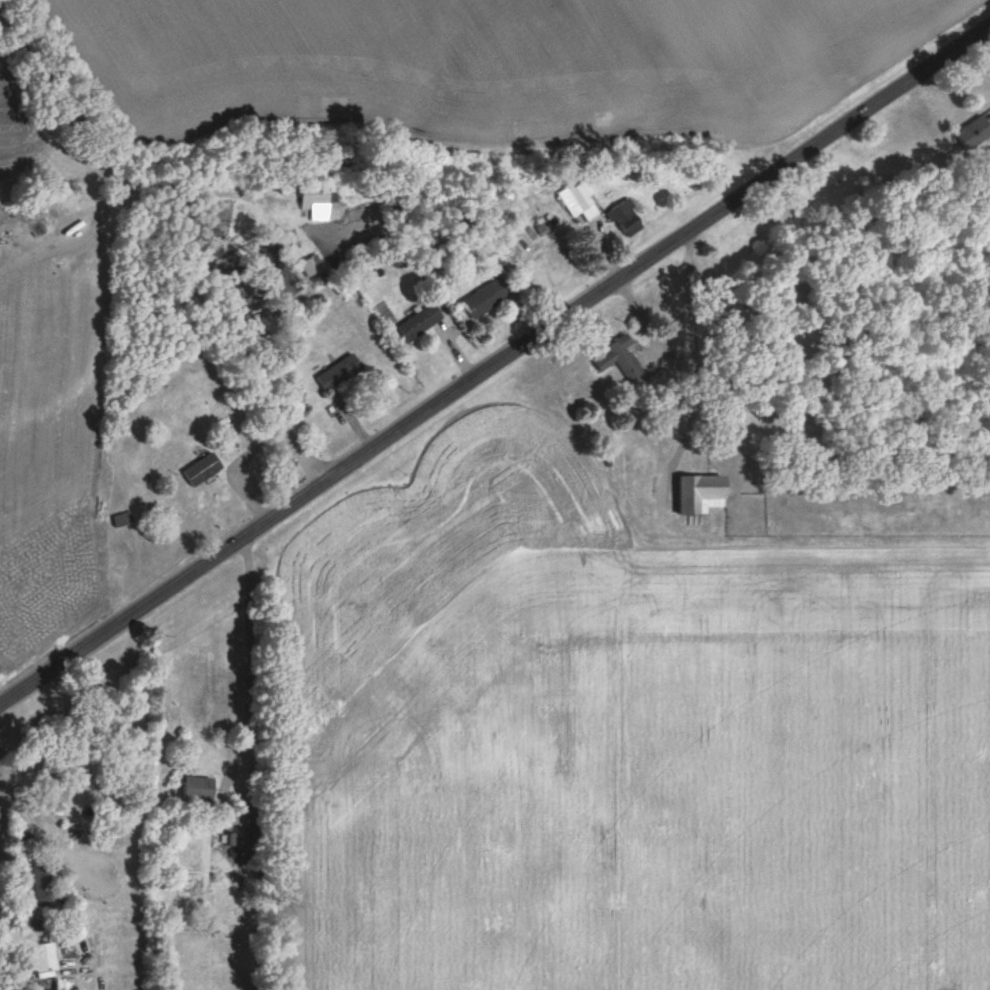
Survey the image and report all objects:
building: (972, 133)
building: (313, 196)
building: (576, 202)
building: (623, 217)
road: (160, 252)
building: (484, 297)
building: (418, 322)
building: (618, 358)
road: (495, 363)
building: (337, 373)
building: (200, 469)
building: (698, 494)
building: (120, 520)
road: (249, 663)
building: (195, 790)
road: (18, 808)
building: (40, 886)
building: (41, 957)

